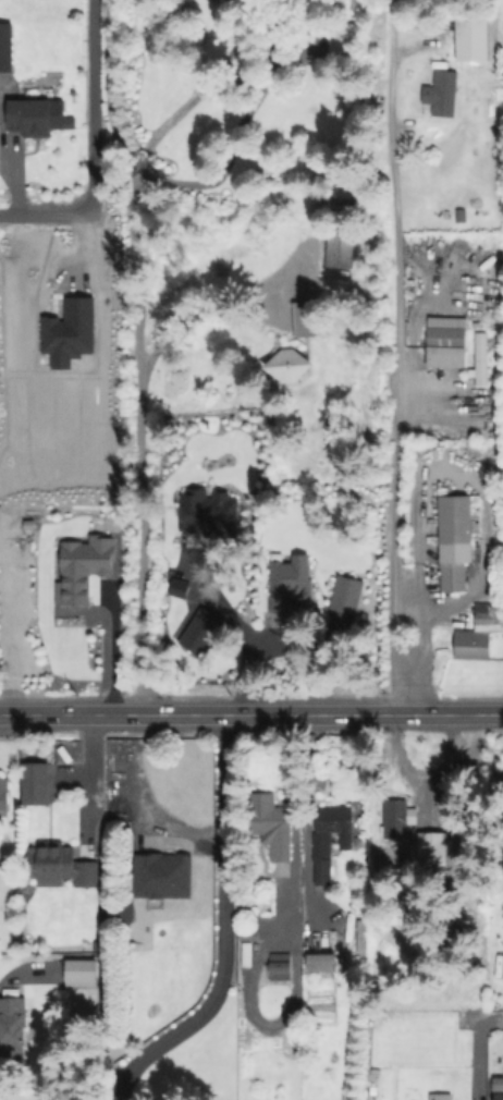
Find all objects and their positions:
building: (473, 36)
building: (342, 45)
building: (4, 46)
building: (442, 93)
building: (32, 119)
building: (69, 122)
road: (91, 147)
building: (462, 216)
building: (341, 252)
building: (303, 281)
road: (205, 297)
building: (302, 319)
building: (447, 344)
road: (398, 356)
building: (482, 362)
building: (289, 366)
building: (206, 512)
road: (143, 528)
building: (458, 539)
building: (83, 567)
building: (289, 584)
building: (344, 594)
building: (319, 598)
building: (198, 630)
building: (480, 635)
building: (265, 645)
road: (73, 712)
road: (324, 713)
road: (94, 767)
building: (36, 784)
building: (3, 795)
building: (395, 817)
building: (271, 822)
building: (331, 829)
building: (402, 835)
building: (430, 847)
building: (60, 867)
building: (162, 875)
road: (224, 928)
building: (322, 963)
building: (281, 968)
building: (78, 971)
building: (502, 971)
building: (12, 1029)
road: (478, 1051)
building: (496, 1083)
building: (441, 1098)
building: (500, 1098)

